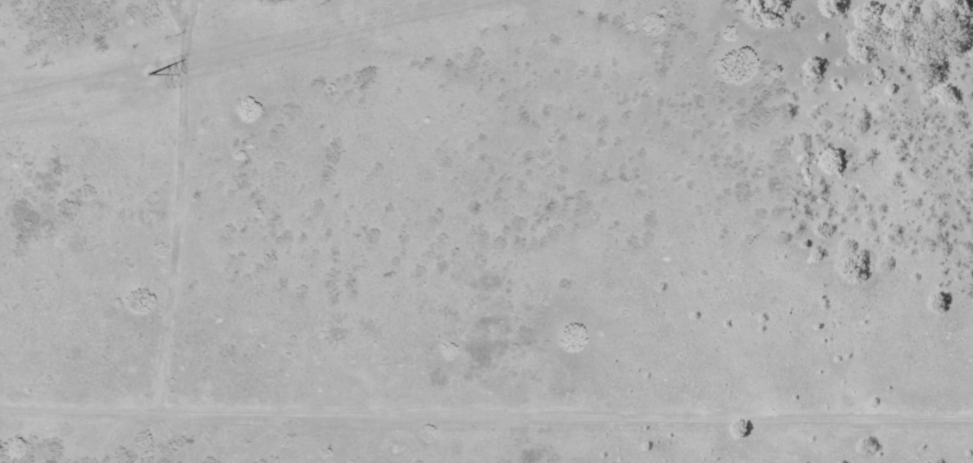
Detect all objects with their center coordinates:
power tower: (148, 75)
road: (486, 417)

